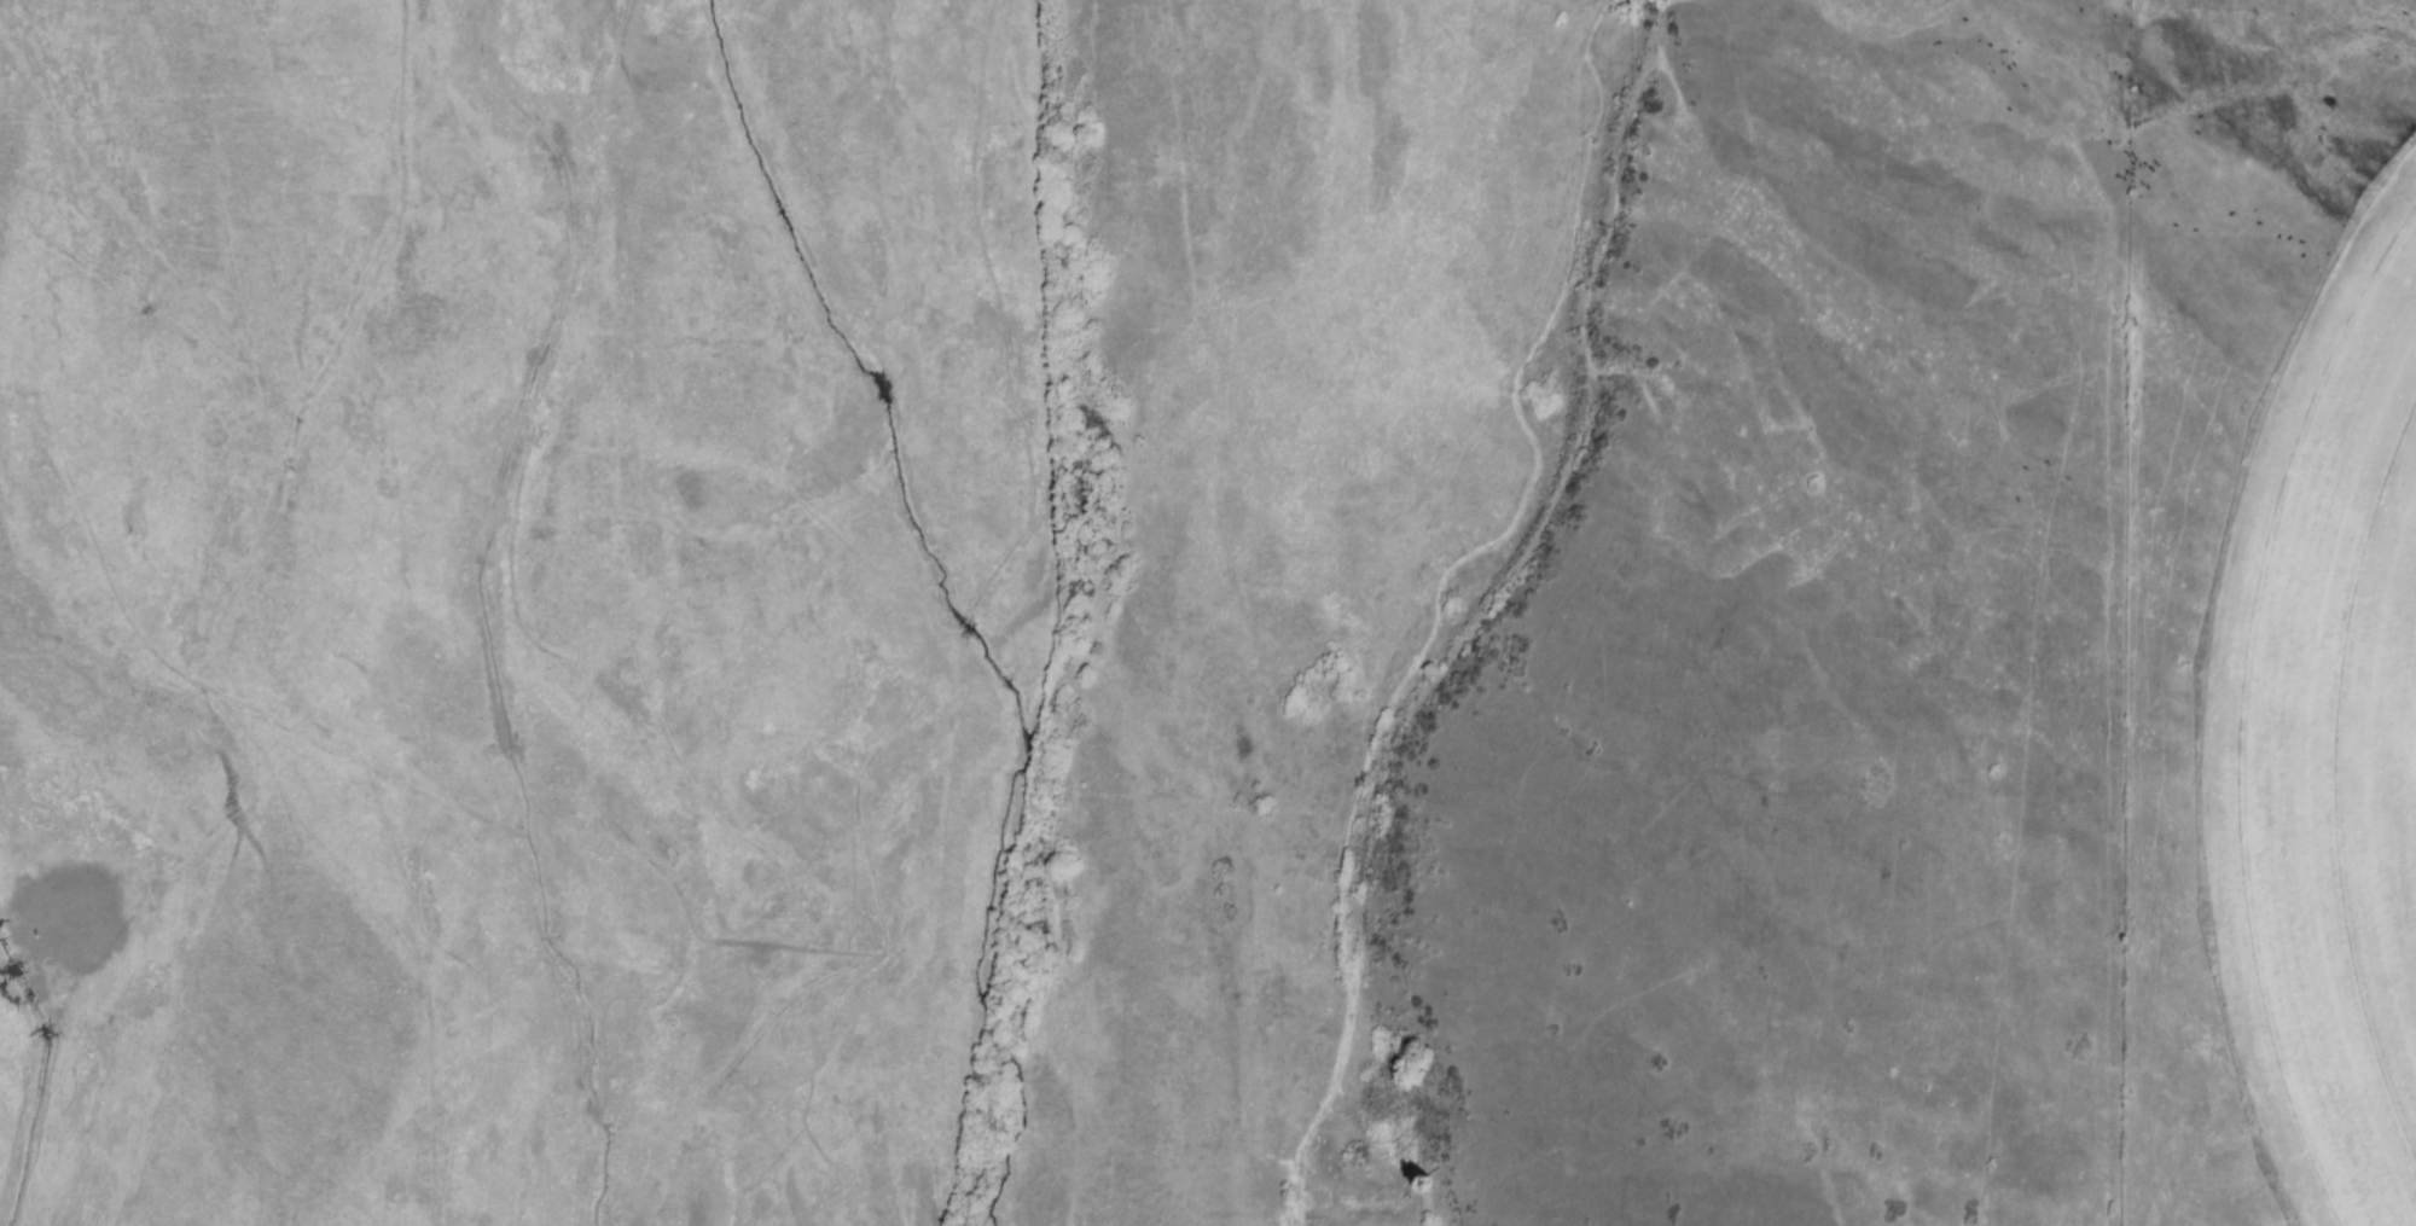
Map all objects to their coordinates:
crop: (2325, 744)

